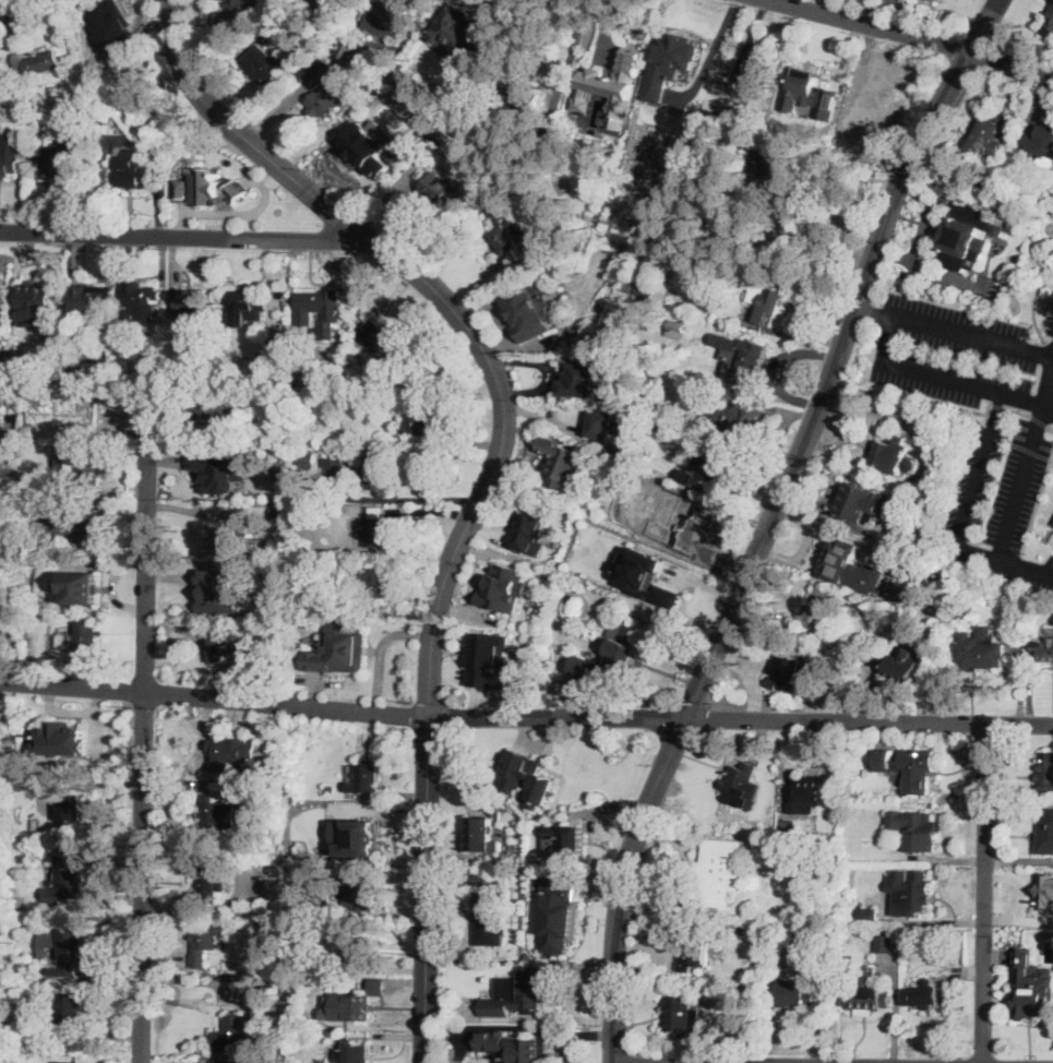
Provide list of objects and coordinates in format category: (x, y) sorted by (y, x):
building: (239, 0)
building: (933, 0)
building: (940, 0)
building: (320, 5)
building: (387, 19)
building: (1050, 19)
building: (101, 34)
road: (906, 35)
building: (456, 45)
building: (349, 49)
road: (713, 49)
building: (36, 63)
building: (668, 63)
building: (266, 64)
building: (324, 71)
building: (757, 74)
building: (399, 75)
building: (613, 83)
building: (809, 93)
building: (520, 97)
building: (327, 99)
building: (153, 112)
building: (867, 112)
building: (418, 116)
building: (101, 120)
building: (450, 120)
building: (378, 133)
building: (989, 136)
building: (1044, 141)
building: (439, 142)
building: (64, 160)
building: (9, 164)
building: (133, 171)
building: (774, 180)
building: (212, 181)
building: (438, 187)
building: (495, 212)
power tower: (624, 219)
road: (180, 235)
building: (968, 235)
building: (766, 236)
building: (512, 237)
road: (823, 238)
building: (576, 241)
building: (629, 287)
building: (645, 290)
building: (36, 295)
building: (91, 299)
building: (767, 301)
building: (189, 304)
building: (247, 307)
building: (137, 308)
building: (318, 308)
building: (530, 310)
building: (677, 325)
building: (225, 331)
building: (375, 333)
road: (972, 336)
building: (743, 355)
building: (266, 365)
building: (159, 366)
building: (169, 372)
road: (917, 373)
building: (82, 375)
building: (579, 381)
road: (1043, 385)
building: (641, 389)
building: (2, 407)
building: (744, 411)
building: (216, 416)
building: (83, 418)
building: (726, 418)
building: (417, 419)
building: (605, 426)
building: (314, 442)
building: (890, 454)
building: (306, 457)
building: (714, 463)
building: (562, 464)
building: (335, 465)
road: (493, 467)
building: (82, 473)
building: (228, 473)
building: (376, 475)
road: (1019, 482)
road: (426, 499)
building: (587, 502)
building: (869, 503)
building: (38, 505)
building: (300, 506)
road: (431, 510)
building: (276, 511)
road: (962, 516)
building: (73, 522)
road: (770, 522)
building: (682, 523)
building: (1052, 523)
building: (533, 525)
building: (375, 529)
building: (234, 537)
building: (31, 544)
building: (61, 545)
building: (845, 560)
building: (902, 566)
building: (646, 575)
building: (373, 582)
building: (86, 584)
building: (505, 587)
building: (219, 589)
building: (815, 609)
building: (869, 612)
building: (86, 636)
building: (226, 645)
building: (339, 648)
building: (1046, 649)
road: (381, 650)
building: (622, 650)
building: (978, 652)
building: (489, 659)
building: (905, 665)
building: (587, 667)
building: (789, 671)
road: (340, 707)
road: (867, 720)
road: (143, 737)
building: (74, 744)
building: (232, 750)
building: (906, 767)
building: (1046, 773)
building: (366, 777)
building: (536, 784)
building: (739, 785)
building: (330, 790)
building: (809, 796)
building: (71, 807)
building: (216, 814)
building: (912, 826)
building: (1045, 833)
building: (482, 835)
building: (361, 837)
building: (566, 841)
building: (721, 872)
building: (70, 873)
building: (210, 884)
road: (983, 893)
building: (1048, 893)
building: (916, 894)
building: (364, 897)
building: (322, 904)
building: (866, 912)
building: (559, 915)
building: (490, 918)
building: (745, 930)
building: (759, 930)
building: (906, 933)
building: (48, 941)
building: (885, 942)
building: (204, 943)
building: (693, 949)
building: (70, 951)
building: (352, 954)
building: (22, 967)
building: (515, 993)
building: (793, 993)
building: (928, 994)
building: (865, 996)
building: (1032, 999)
building: (363, 1001)
power tower: (201, 1005)
building: (70, 1011)
building: (681, 1013)
building: (234, 1032)
building: (520, 1043)
building: (352, 1053)
building: (70, 1062)
building: (201, 1062)

